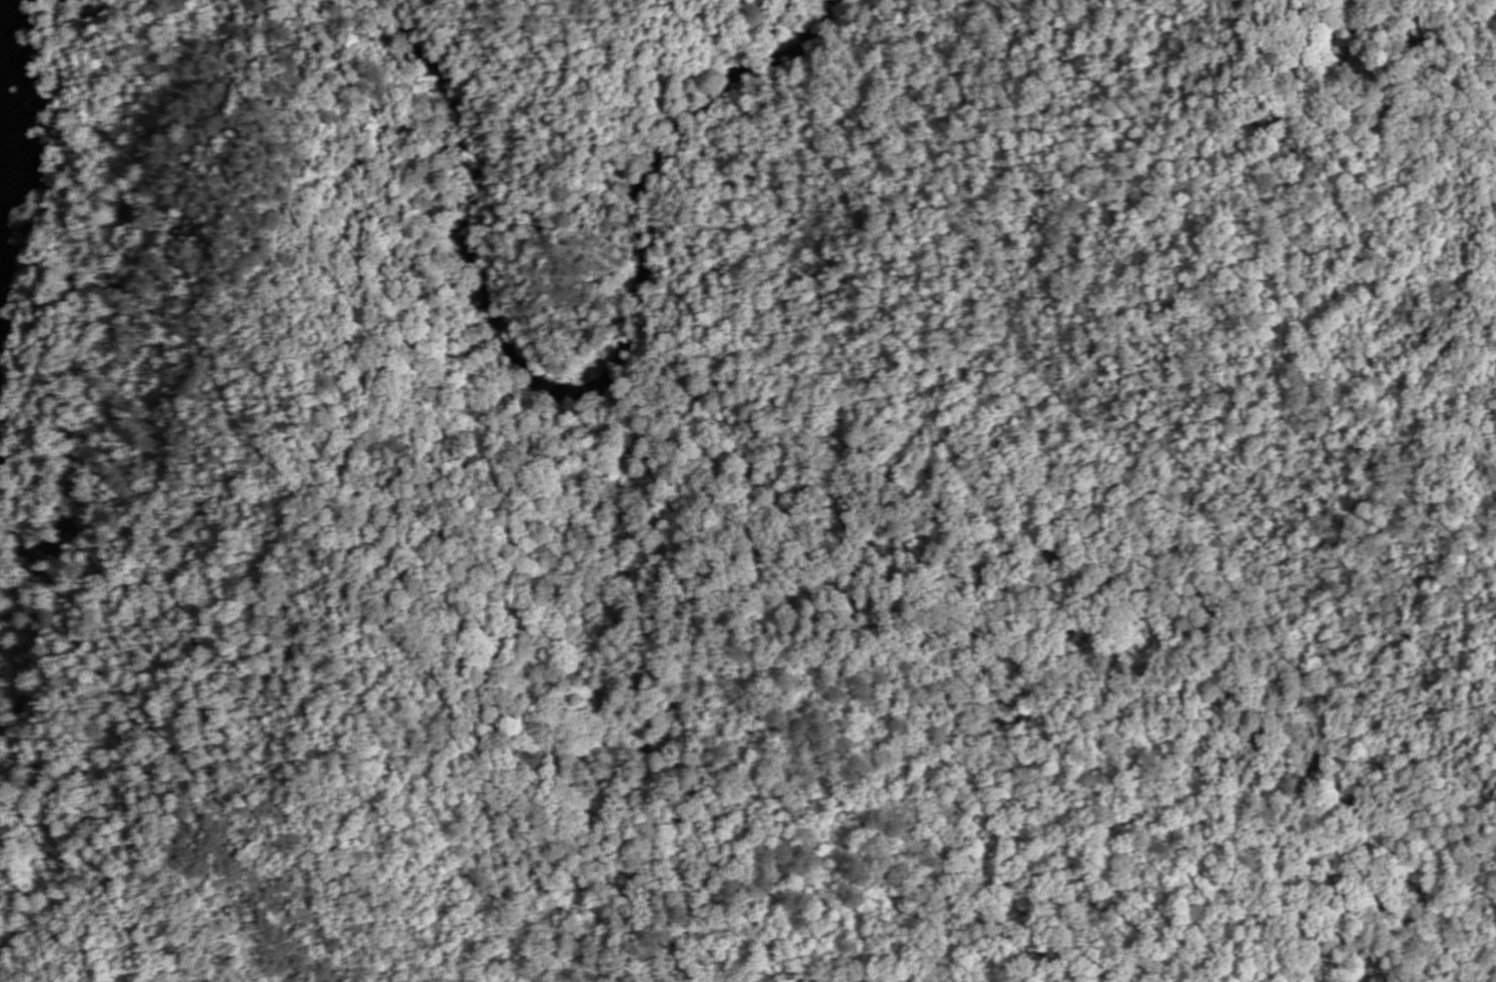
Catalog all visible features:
road: (46, 314)
road: (608, 418)

